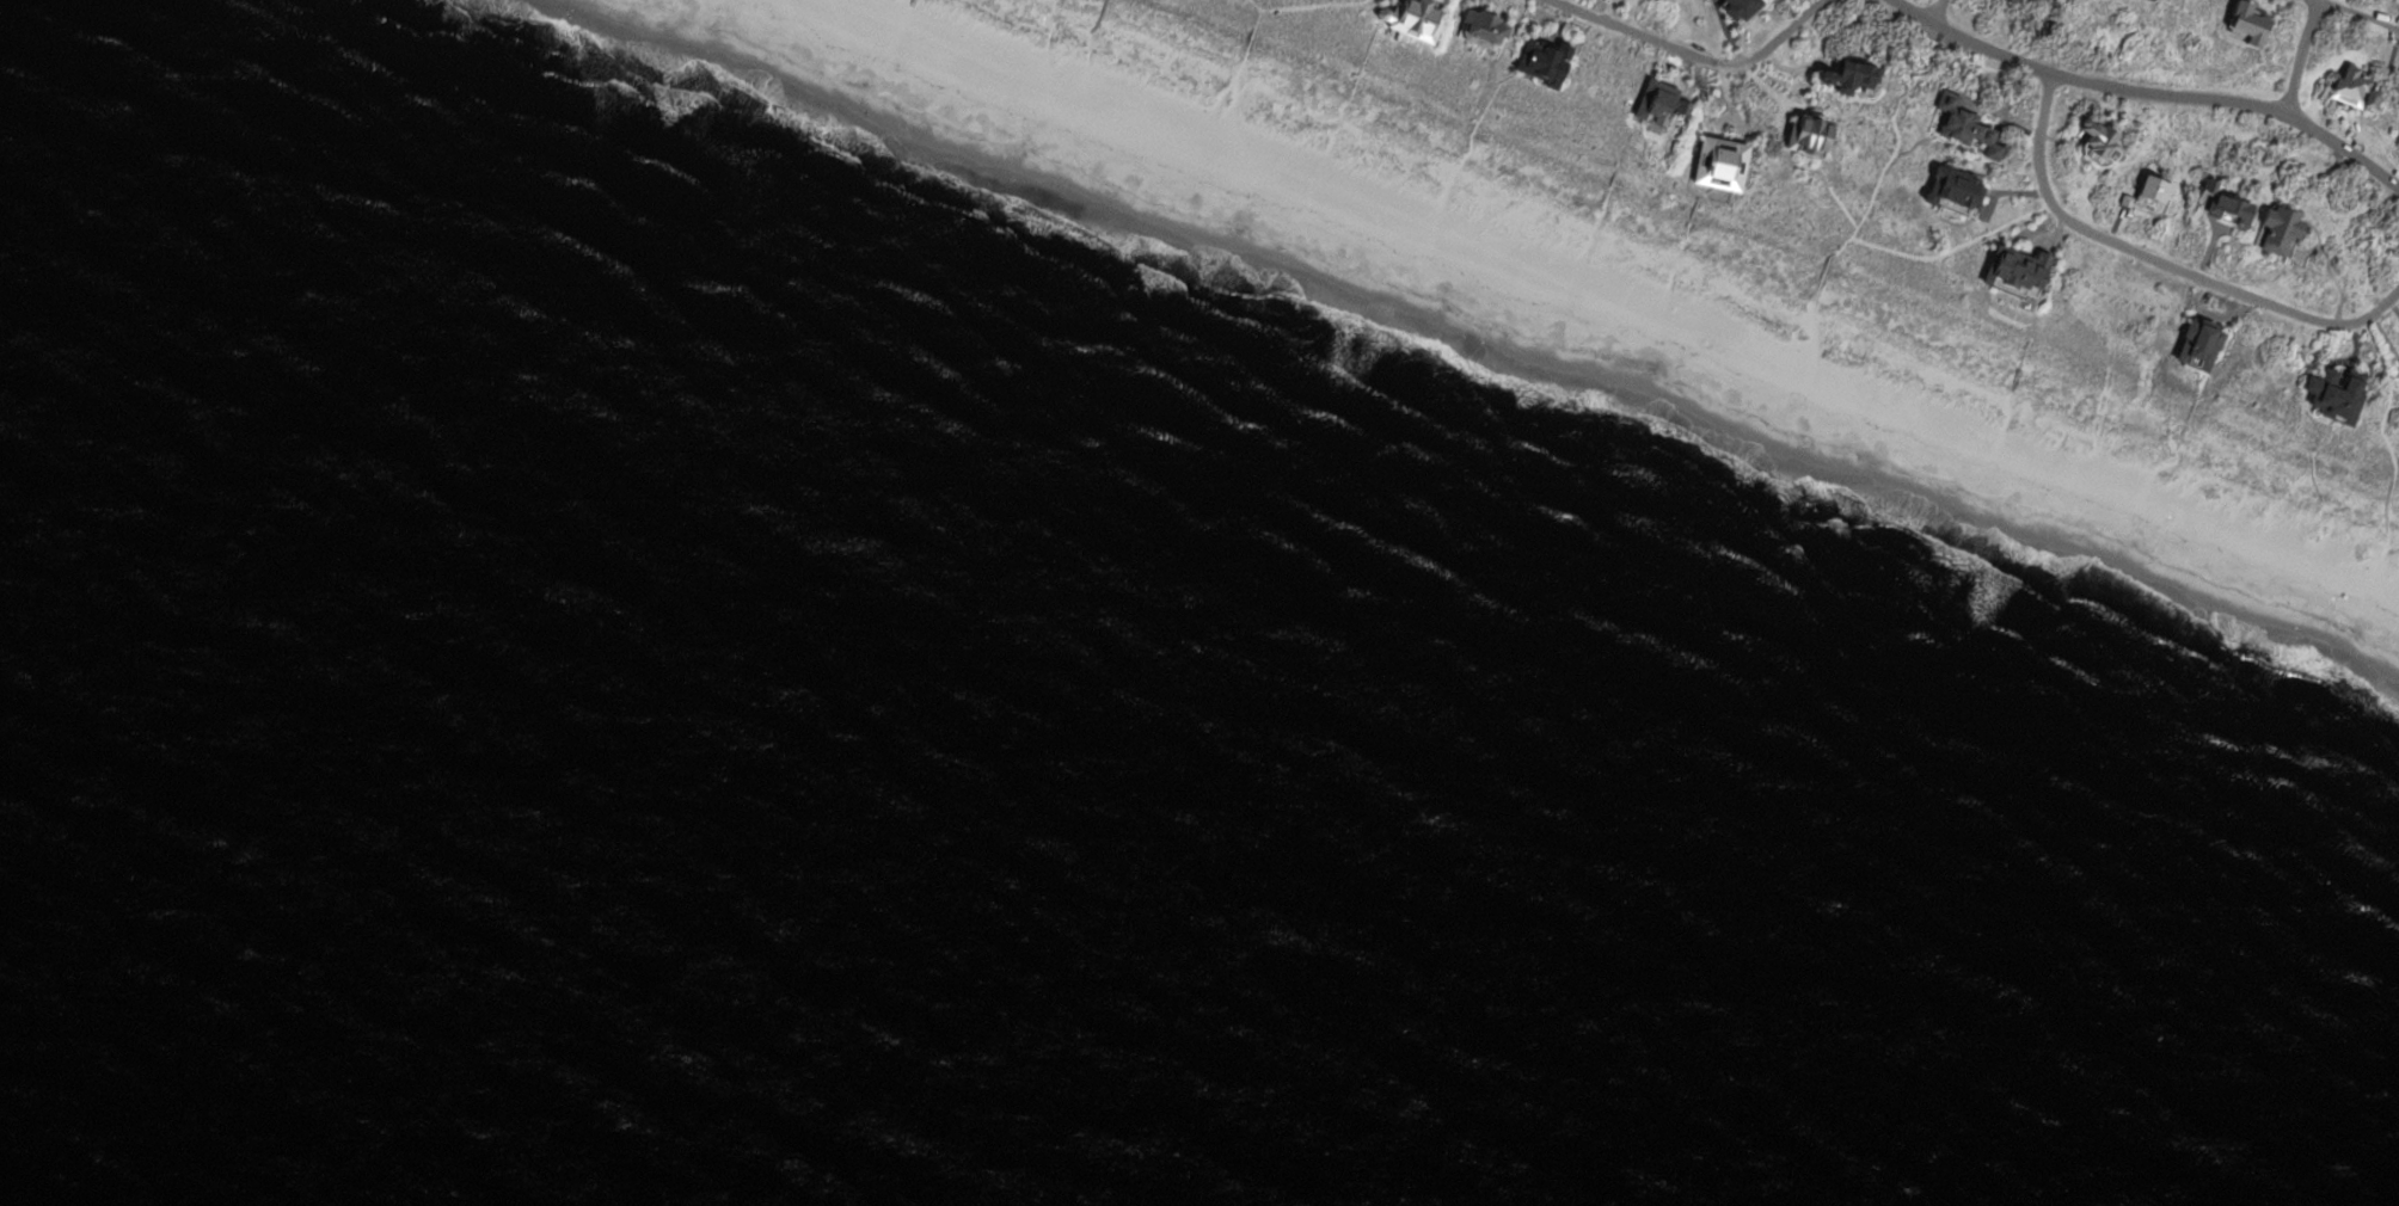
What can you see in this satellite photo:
building: (2019, 0)
building: (1745, 8)
road: (1938, 12)
road: (2362, 13)
building: (1418, 19)
building: (2252, 23)
building: (1490, 29)
road: (1695, 54)
road: (2303, 56)
building: (1547, 61)
building: (1853, 76)
building: (2358, 91)
road: (2150, 92)
building: (1664, 103)
building: (1970, 127)
road: (1898, 129)
building: (1815, 136)
building: (2104, 143)
building: (1726, 164)
building: (1959, 190)
building: (2160, 192)
building: (2128, 199)
building: (2232, 205)
building: (2284, 230)
road: (1919, 258)
road: (2161, 260)
building: (2024, 267)
building: (2204, 345)
building: (2342, 394)

